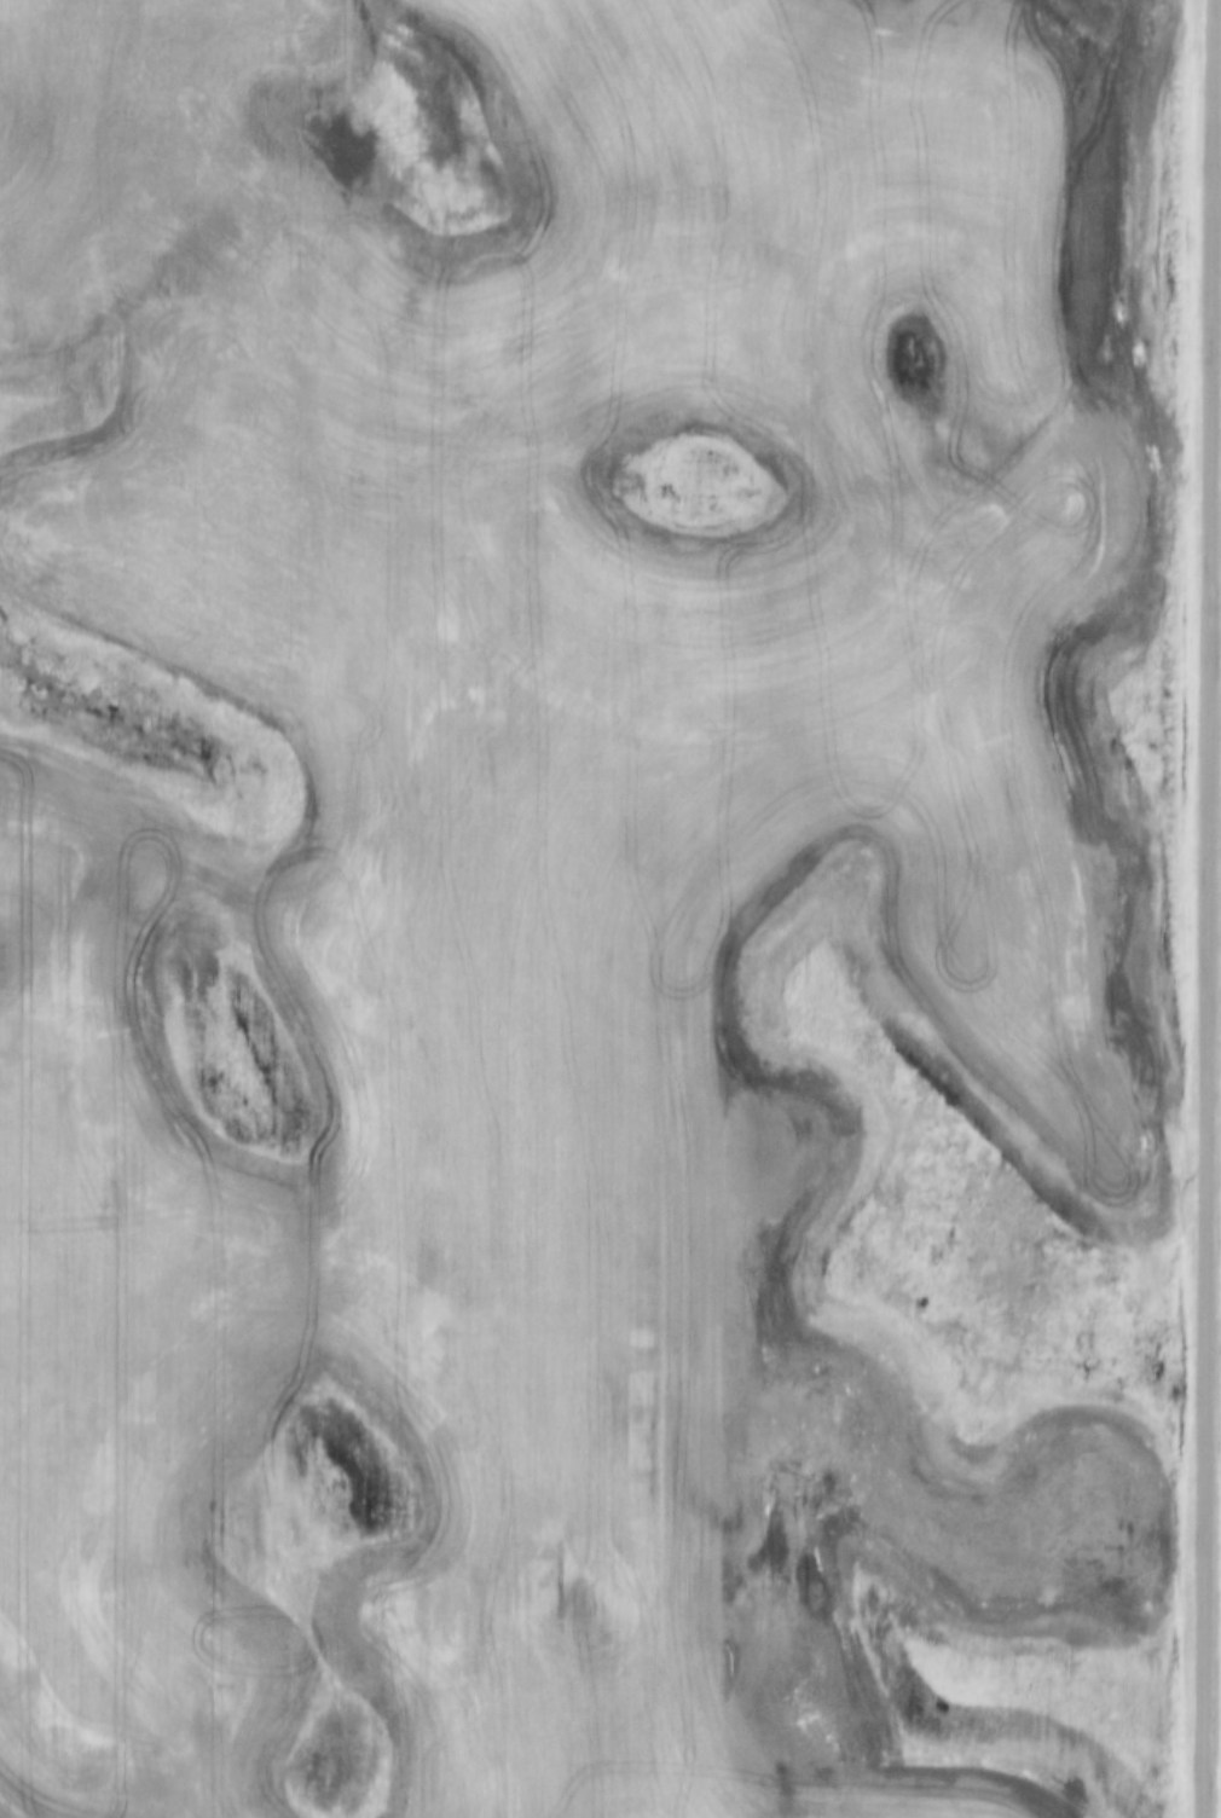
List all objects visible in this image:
road: (1215, 949)

